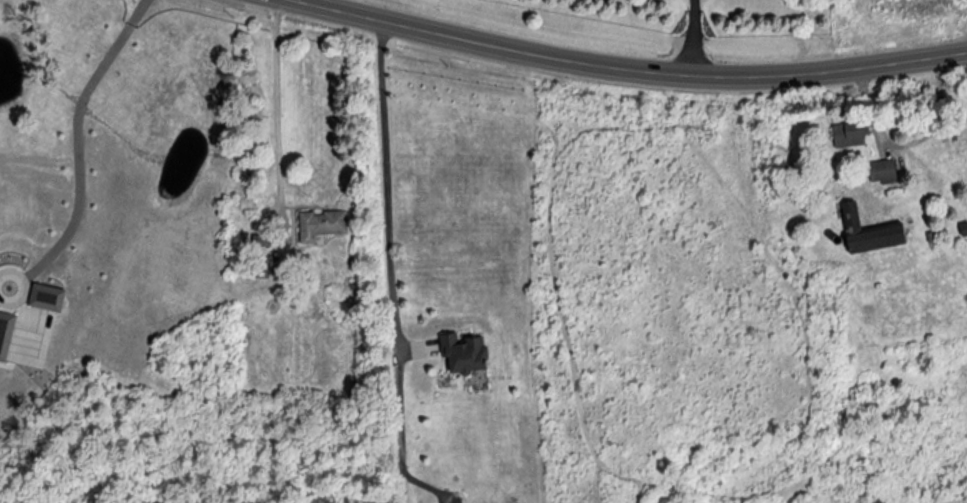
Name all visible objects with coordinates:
road: (694, 36)
road: (507, 43)
road: (832, 70)
road: (277, 108)
road: (83, 131)
building: (849, 135)
building: (883, 170)
road: (389, 174)
building: (322, 224)
building: (873, 232)
building: (466, 353)

